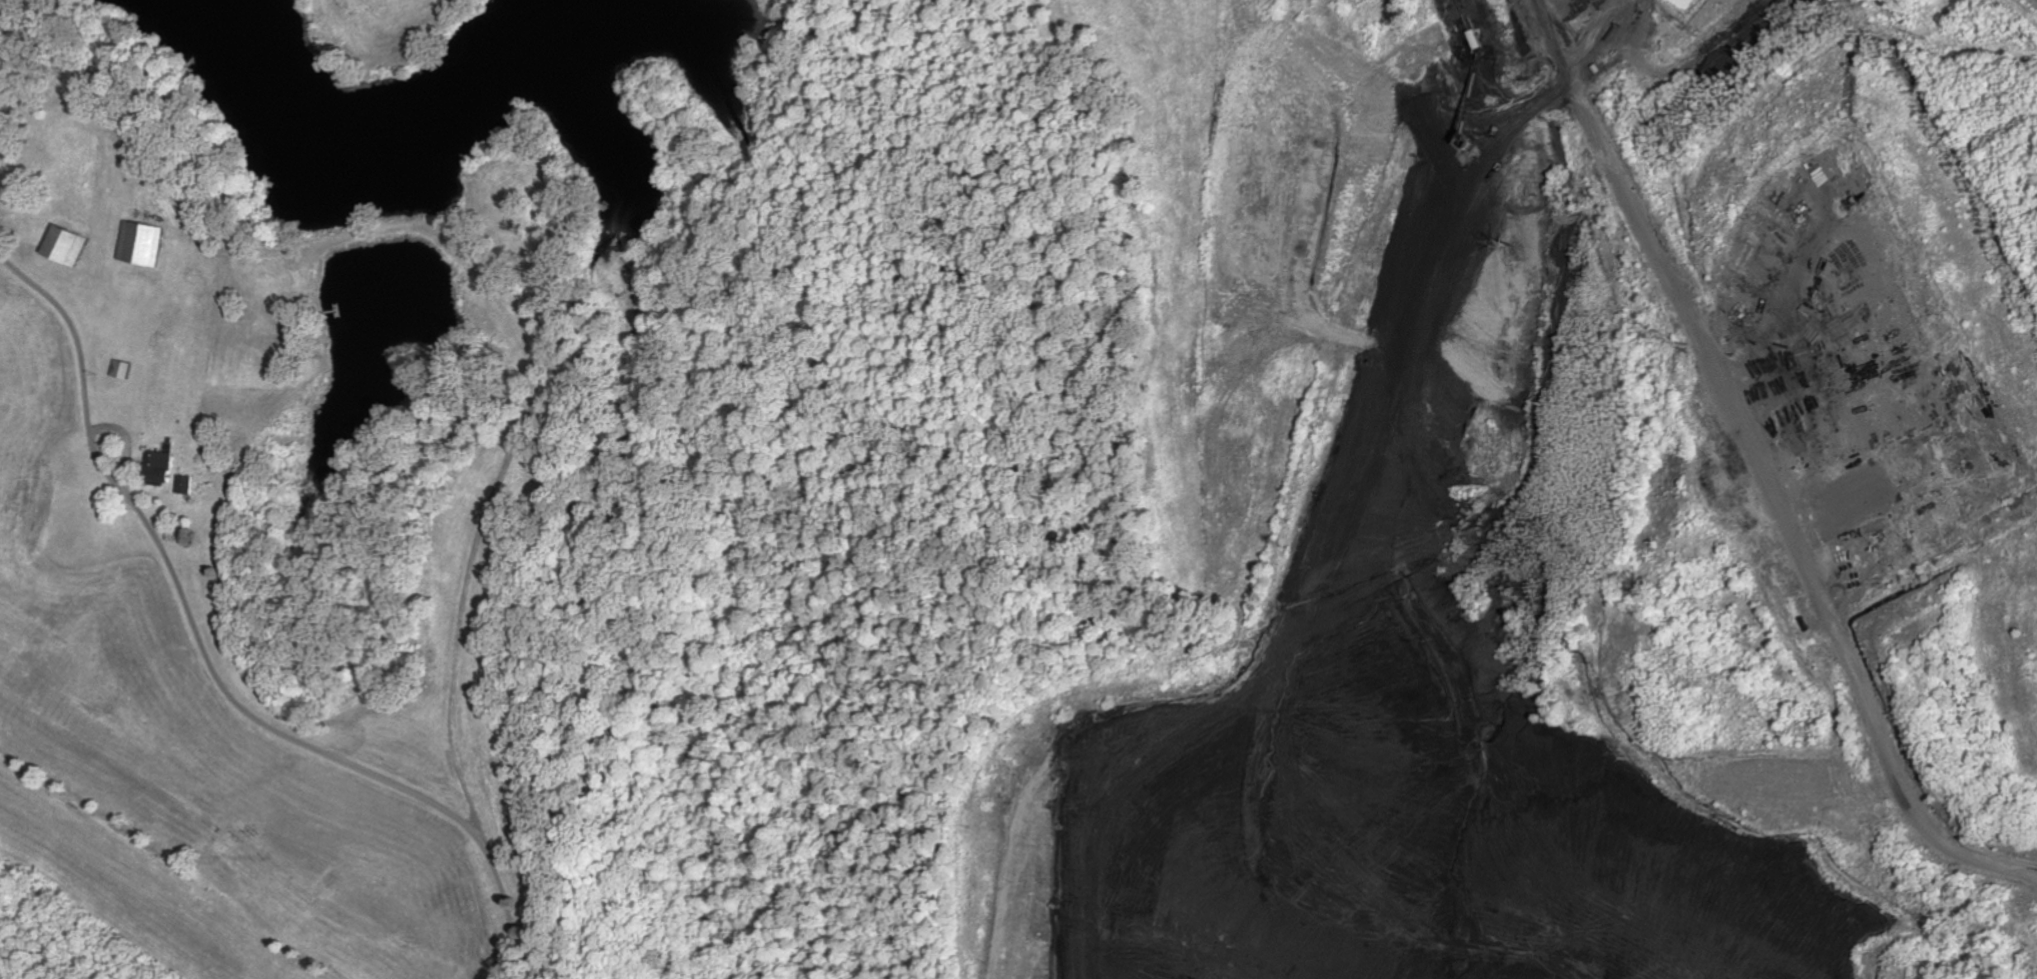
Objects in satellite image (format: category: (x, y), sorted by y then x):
building: (145, 244)
building: (68, 246)
building: (124, 370)
building: (163, 468)
building: (189, 485)
road: (211, 665)

